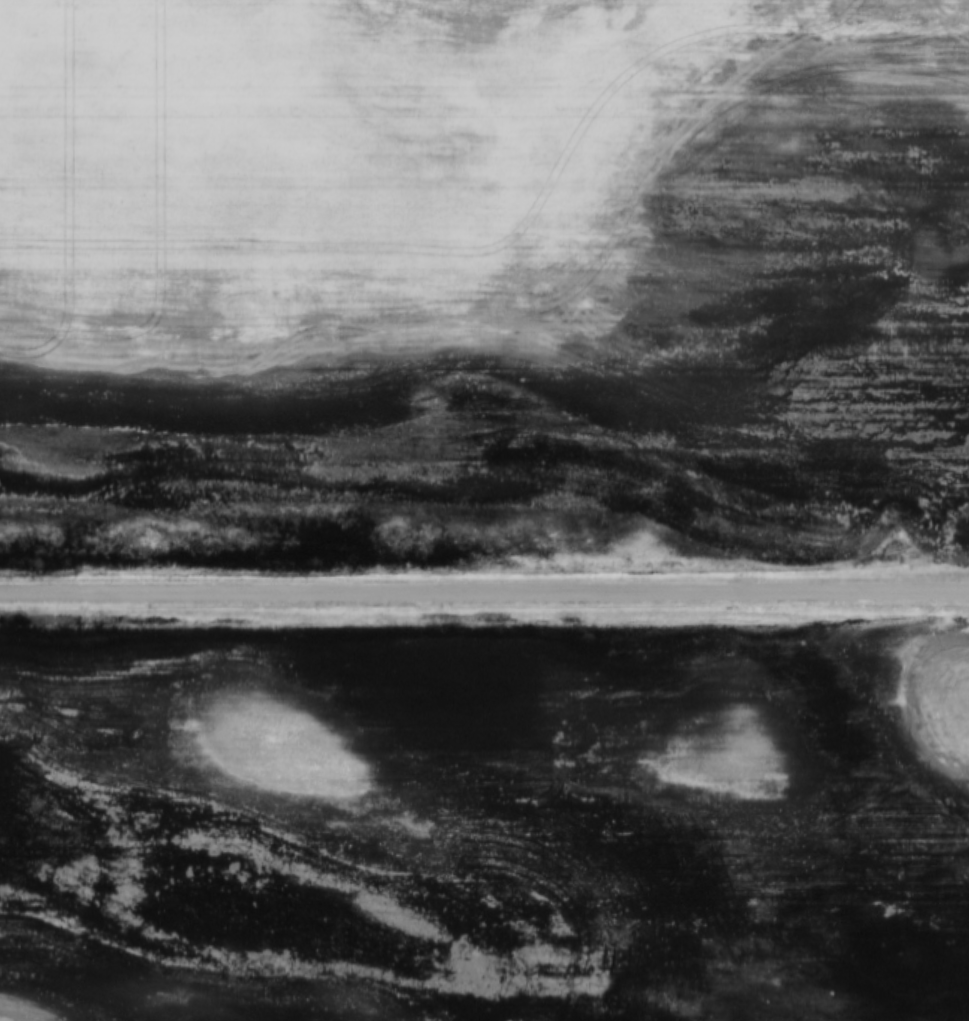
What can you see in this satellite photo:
road: (484, 595)

